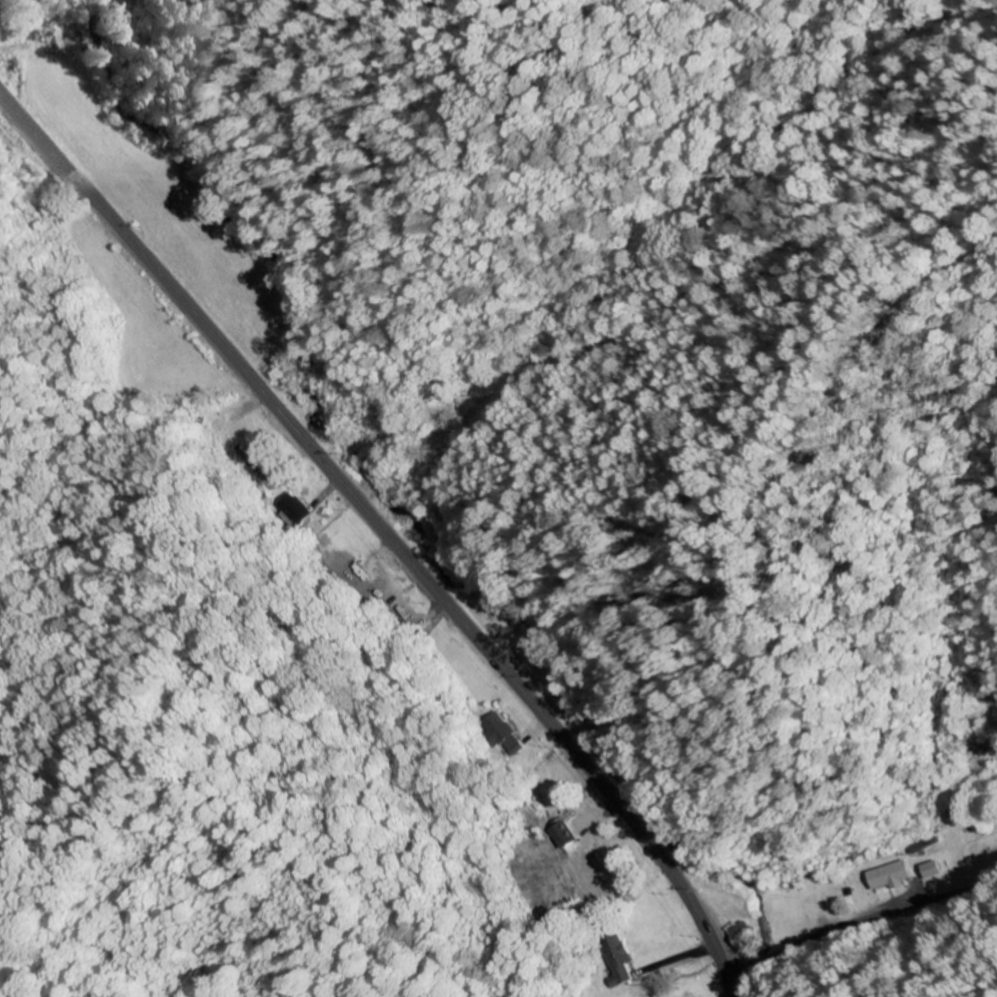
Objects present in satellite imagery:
building: (293, 508)
road: (383, 532)
building: (501, 732)
building: (563, 836)
building: (594, 868)
building: (934, 871)
building: (893, 877)
road: (860, 922)
building: (740, 931)
building: (618, 959)
building: (692, 995)

